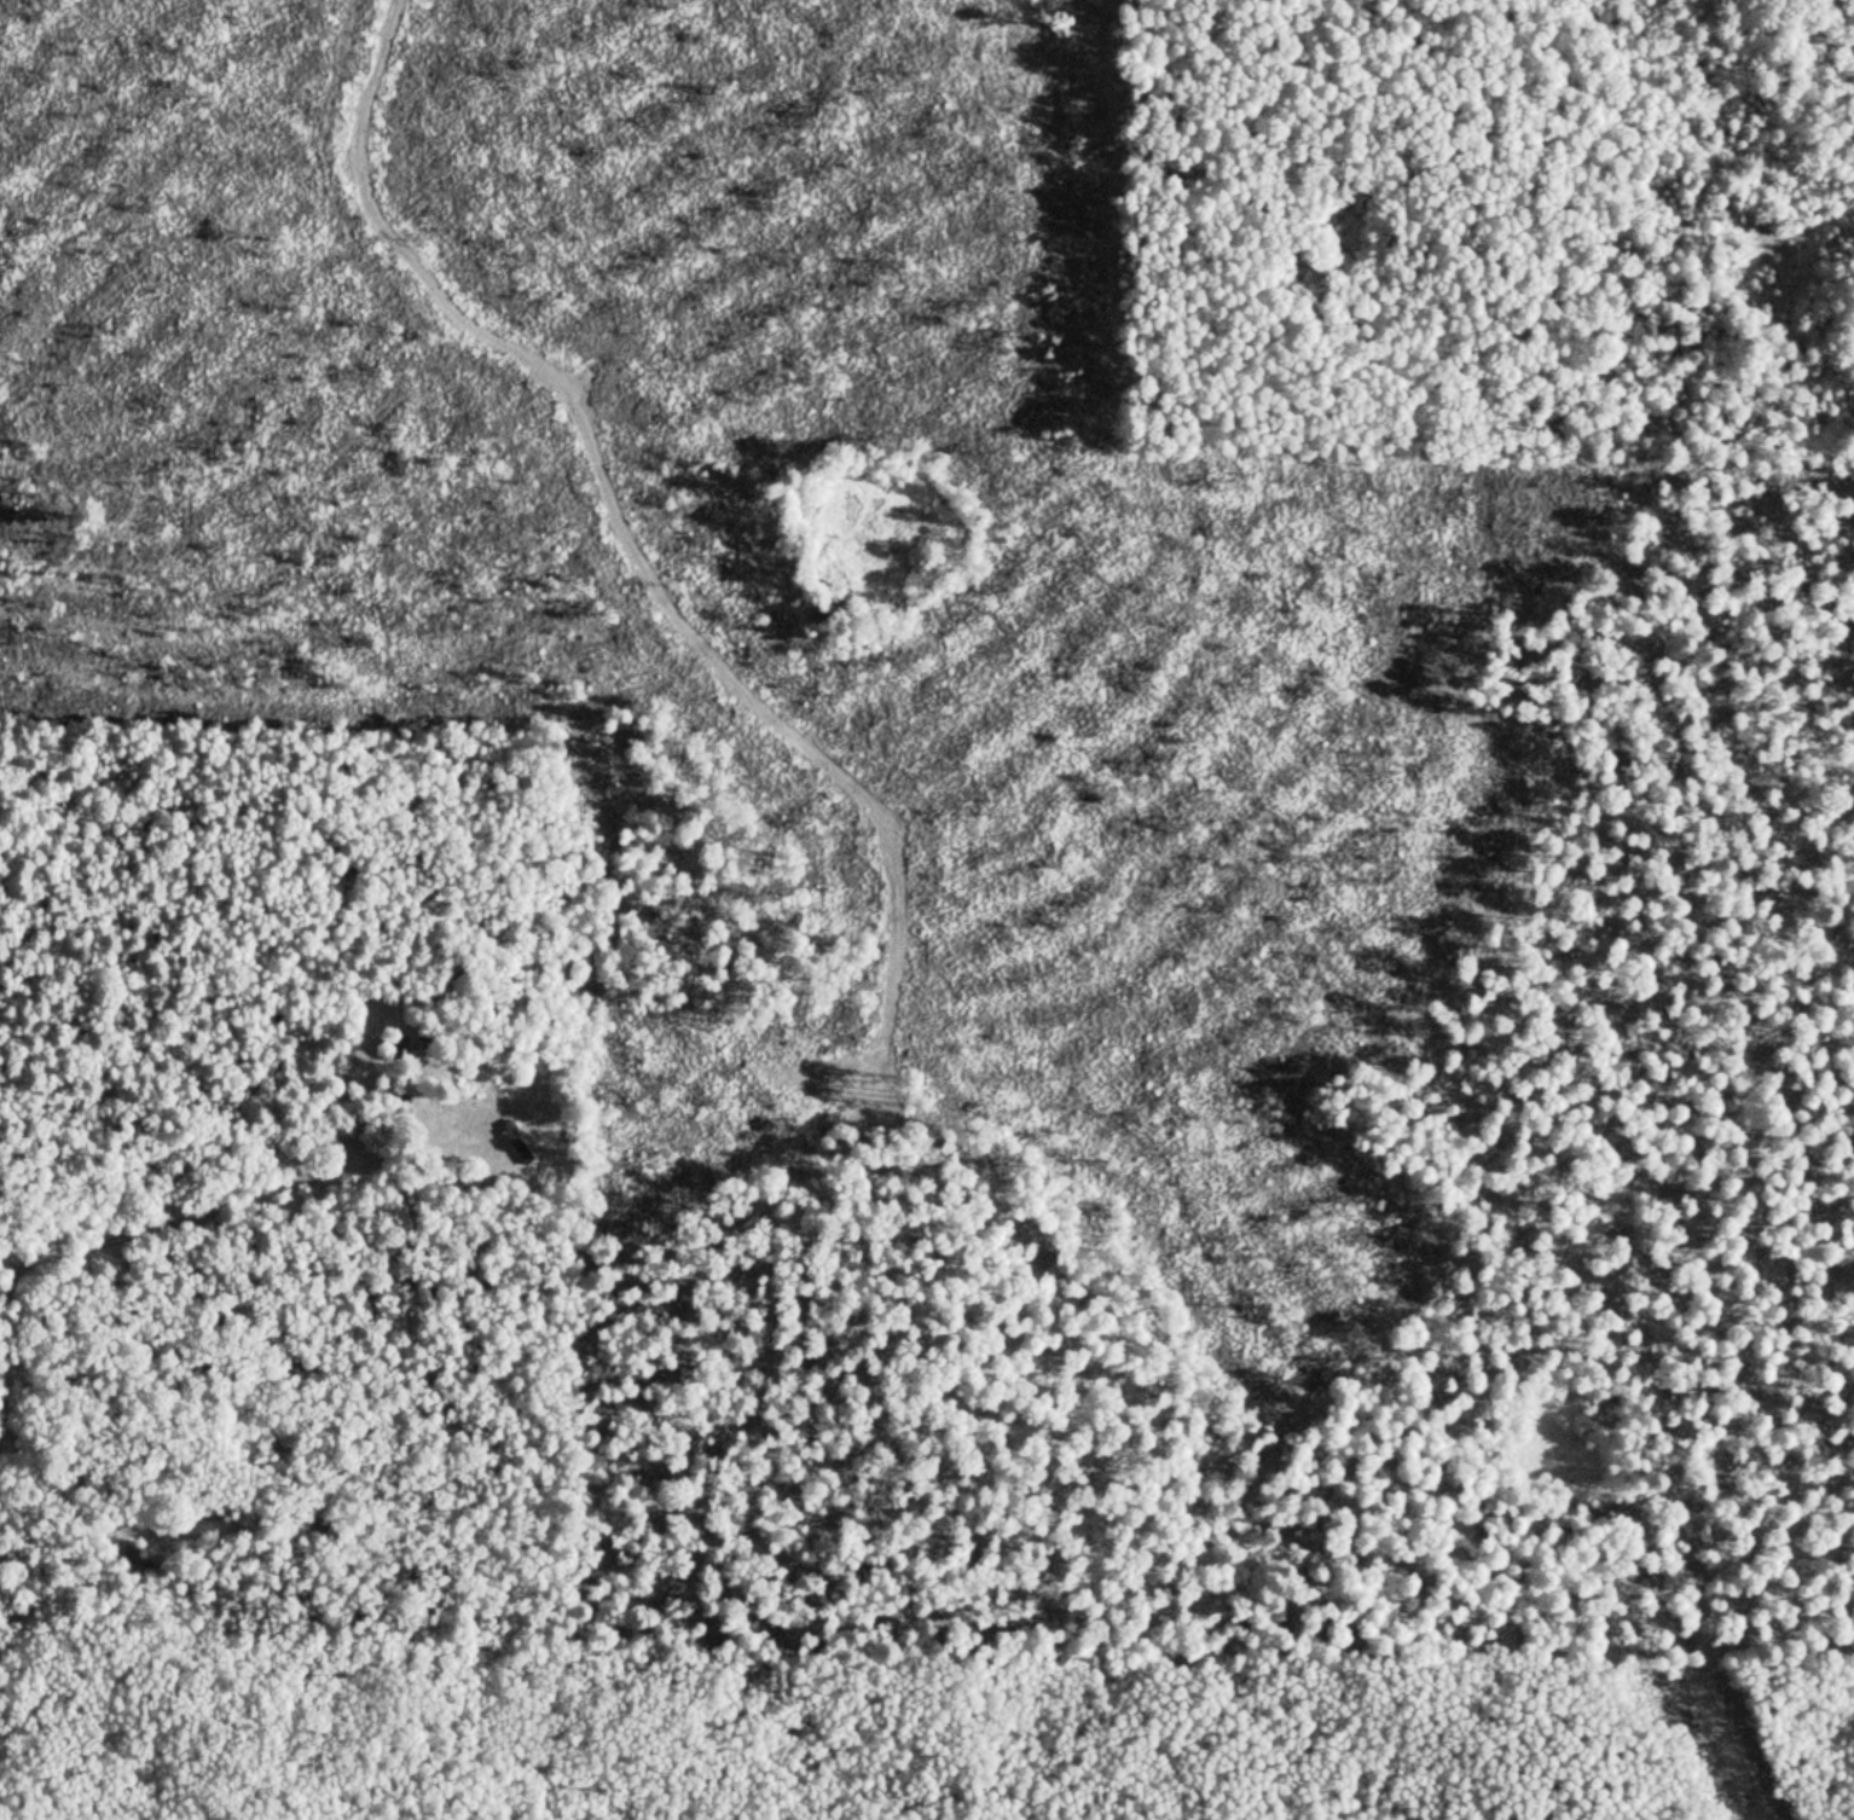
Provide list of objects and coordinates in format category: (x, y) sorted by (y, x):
road: (1273, 152)
building: (371, 1005)
building: (515, 1142)
road: (10, 1262)

